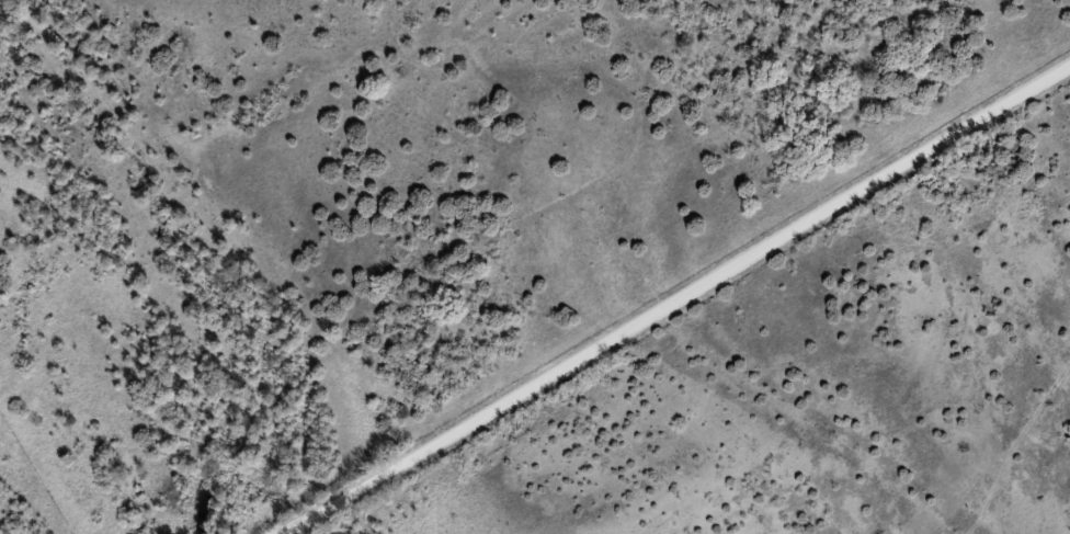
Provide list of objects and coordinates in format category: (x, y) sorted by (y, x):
road: (682, 303)

